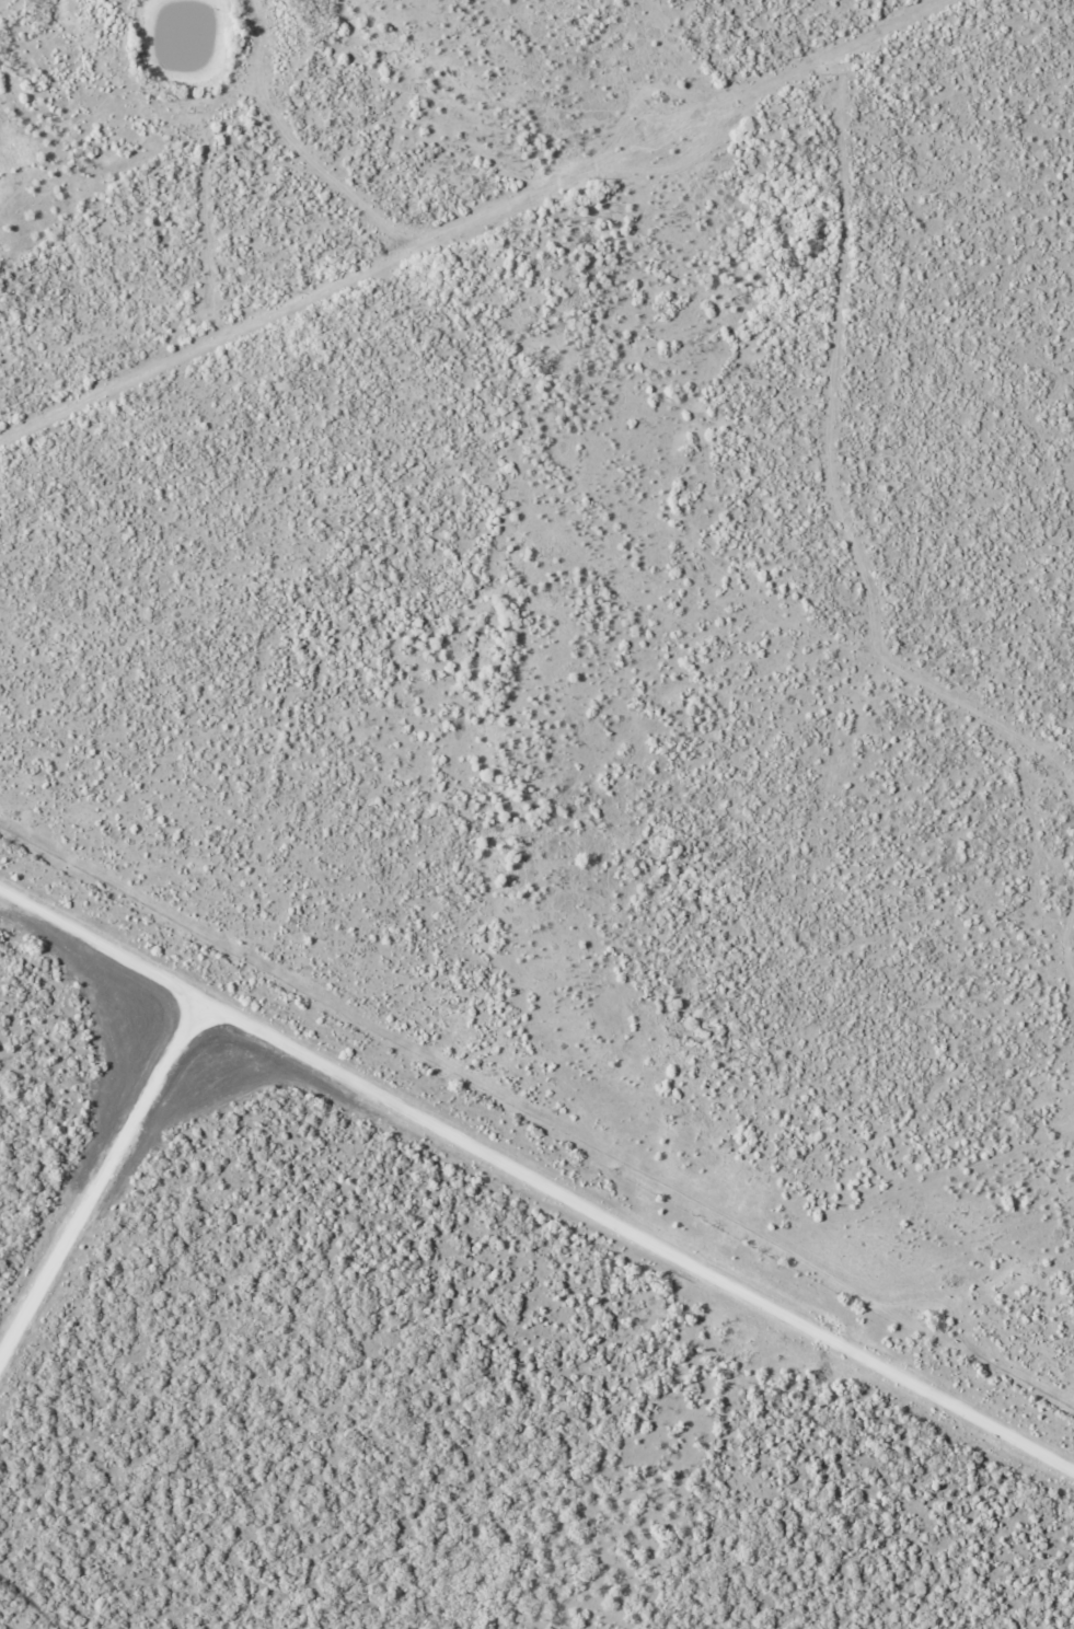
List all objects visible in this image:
road: (530, 1213)
road: (106, 1253)

